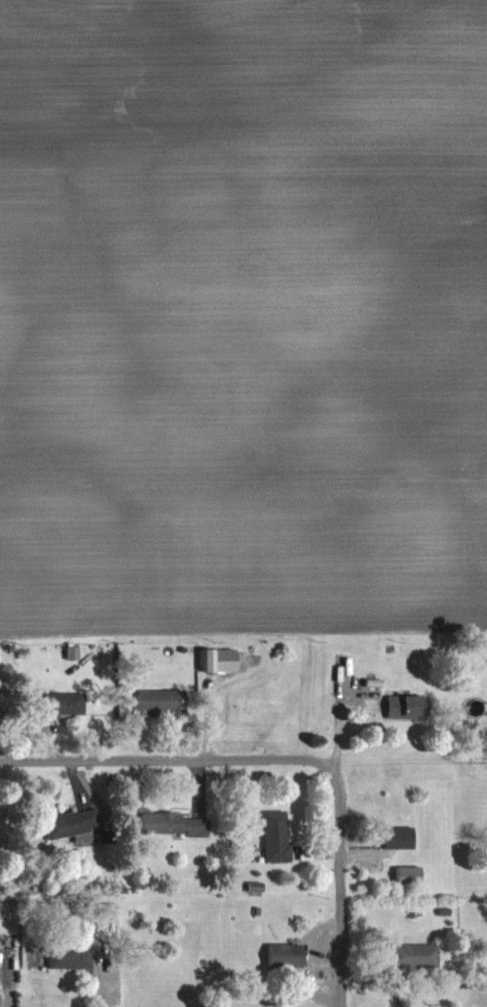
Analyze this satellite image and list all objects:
building: (219, 661)
building: (162, 703)
building: (65, 705)
building: (407, 706)
road: (168, 755)
building: (77, 823)
building: (175, 825)
building: (277, 836)
building: (398, 837)
road: (335, 887)
building: (484, 954)
building: (285, 955)
building: (415, 956)
building: (70, 959)

